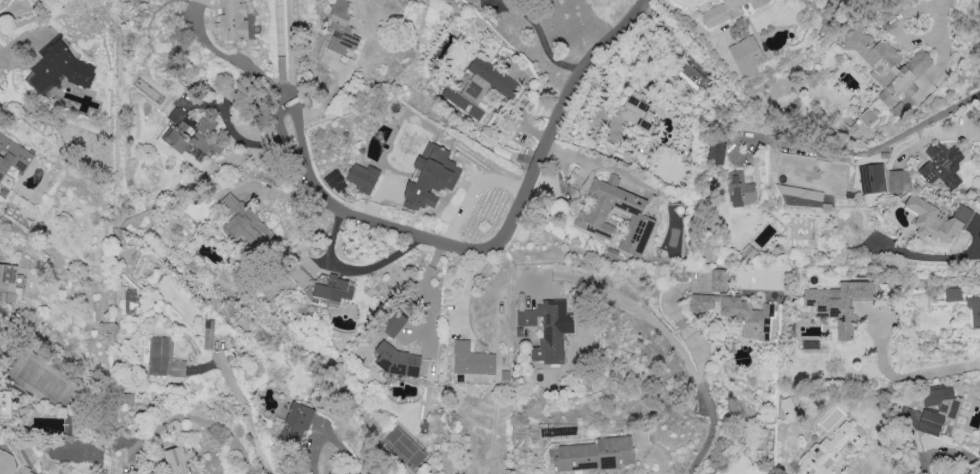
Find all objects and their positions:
road: (0, 0)
building: (201, 1)
building: (726, 11)
road: (937, 20)
building: (230, 21)
building: (337, 37)
road: (542, 38)
road: (280, 47)
road: (290, 47)
road: (15, 52)
road: (229, 56)
building: (745, 56)
building: (887, 64)
building: (57, 68)
building: (491, 76)
building: (690, 76)
building: (463, 99)
building: (636, 110)
building: (860, 124)
building: (188, 134)
road: (875, 146)
building: (715, 152)
building: (12, 155)
building: (941, 165)
building: (429, 176)
building: (361, 177)
building: (871, 178)
building: (897, 180)
building: (740, 188)
building: (800, 195)
building: (590, 217)
building: (936, 219)
building: (243, 224)
road: (492, 245)
road: (924, 256)
road: (354, 269)
building: (298, 275)
building: (719, 280)
building: (8, 283)
road: (470, 288)
building: (331, 289)
building: (952, 294)
road: (427, 297)
building: (129, 300)
building: (838, 303)
building: (735, 312)
building: (974, 312)
road: (646, 318)
building: (393, 323)
building: (547, 329)
building: (207, 334)
building: (163, 358)
building: (470, 359)
building: (397, 360)
road: (702, 364)
road: (902, 376)
building: (786, 407)
road: (245, 413)
building: (929, 415)
road: (192, 417)
building: (296, 421)
road: (703, 446)
building: (829, 449)
building: (589, 455)
building: (177, 460)
building: (7, 462)
building: (25, 471)

